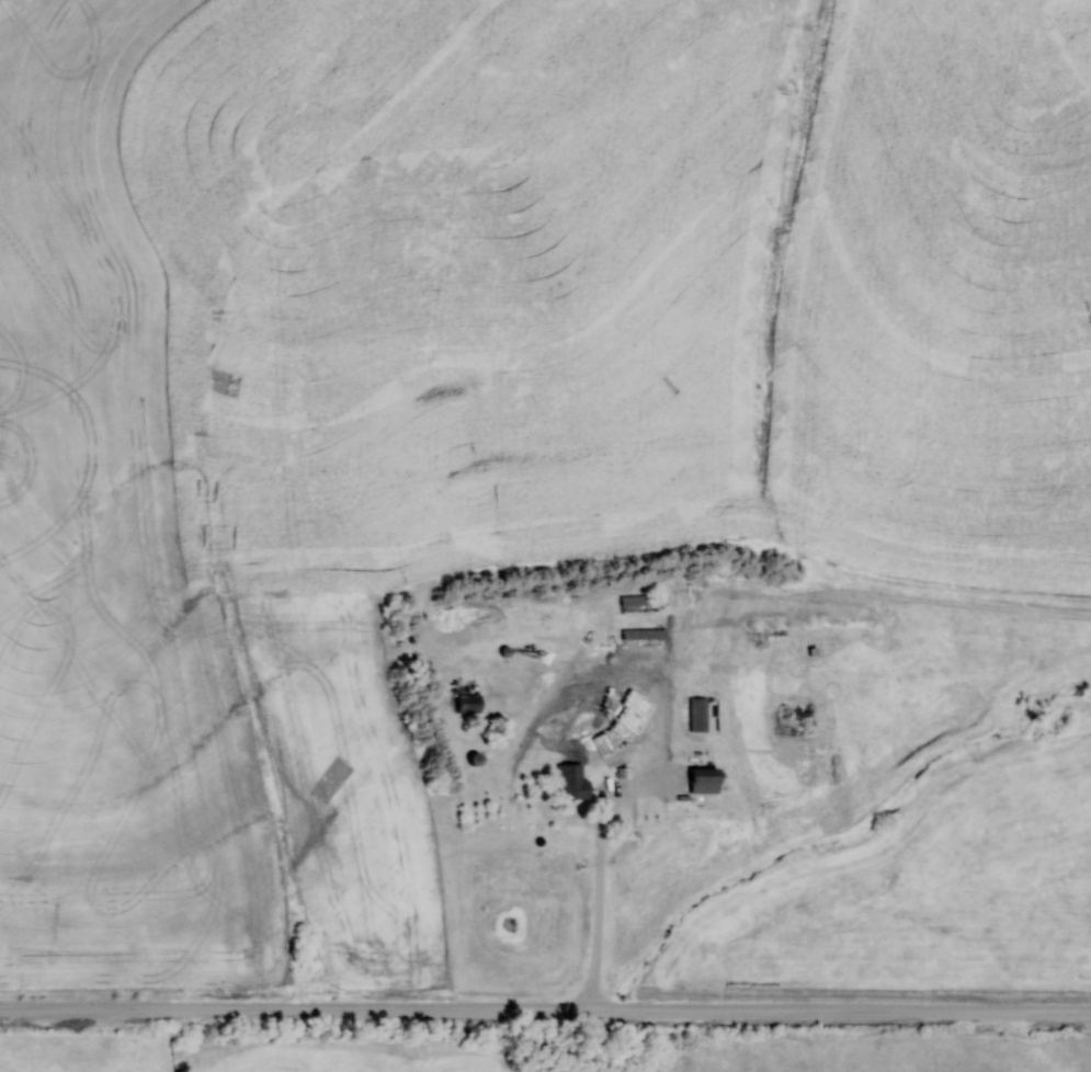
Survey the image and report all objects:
building: (645, 600)
building: (646, 632)
building: (700, 714)
building: (707, 780)
building: (573, 782)
road: (600, 924)
road: (545, 1015)

